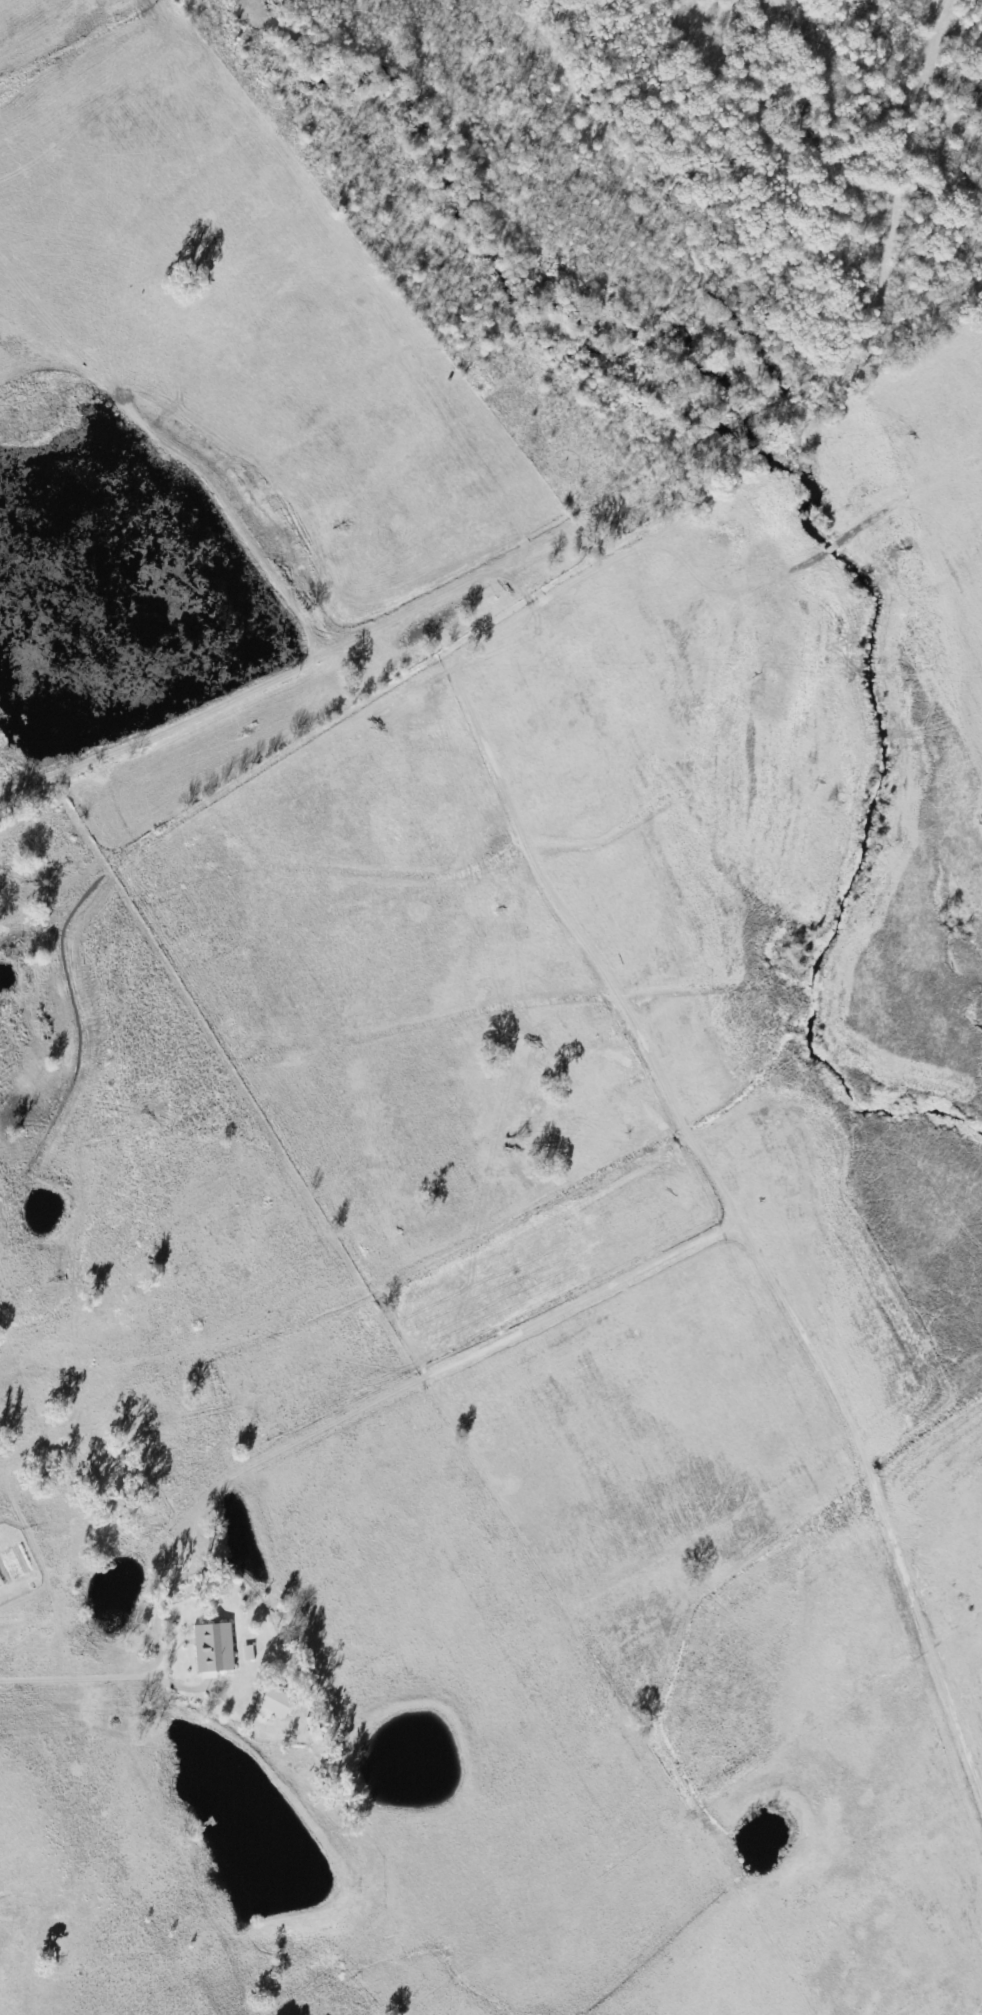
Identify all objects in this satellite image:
building: (212, 1648)
building: (247, 1654)
building: (272, 1702)

